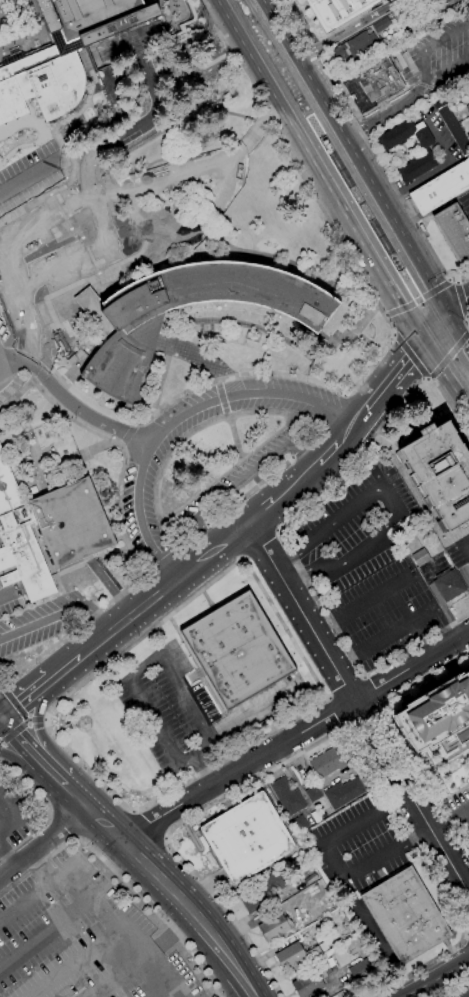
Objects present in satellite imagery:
road: (268, 2)
building: (450, 2)
building: (337, 11)
building: (424, 24)
road: (347, 29)
flagpole: (25, 38)
flagpole: (13, 43)
flagpole: (0, 48)
building: (356, 48)
road: (426, 50)
building: (63, 54)
road: (448, 72)
building: (374, 84)
road: (398, 102)
building: (468, 104)
building: (468, 107)
railway: (313, 113)
building: (452, 126)
road: (356, 127)
road: (296, 132)
building: (467, 136)
road: (369, 148)
building: (386, 149)
railway: (345, 160)
railway: (331, 167)
road: (432, 171)
road: (367, 173)
parking lot: (30, 175)
road: (29, 177)
building: (442, 188)
road: (57, 190)
road: (89, 190)
road: (317, 197)
road: (45, 223)
building: (454, 230)
building: (62, 249)
road: (382, 277)
road: (453, 279)
road: (457, 280)
road: (412, 290)
road: (419, 299)
road: (461, 299)
road: (24, 304)
road: (386, 314)
traffic signals: (450, 314)
road: (405, 315)
road: (445, 318)
road: (467, 319)
road: (467, 323)
road: (7, 325)
road: (394, 333)
building: (133, 336)
traffic signals: (423, 342)
railway: (455, 344)
road: (410, 354)
road: (450, 355)
railway: (449, 361)
road: (406, 362)
road: (2, 366)
parking lot: (9, 369)
road: (2, 373)
road: (445, 376)
road: (217, 378)
road: (426, 378)
road: (431, 379)
road: (192, 385)
road: (349, 394)
road: (223, 396)
road: (379, 397)
road: (72, 404)
road: (336, 412)
road: (180, 417)
road: (363, 417)
road: (134, 421)
road: (193, 430)
road: (129, 433)
road: (317, 434)
road: (235, 436)
road: (115, 440)
road: (122, 444)
road: (340, 445)
road: (302, 448)
road: (230, 469)
building: (441, 471)
road: (235, 482)
road: (298, 483)
road: (245, 494)
road: (389, 496)
road: (262, 513)
building: (48, 530)
road: (280, 532)
road: (189, 538)
road: (465, 543)
road: (263, 547)
road: (177, 549)
parking lot: (364, 556)
building: (420, 558)
road: (288, 560)
road: (160, 562)
road: (307, 573)
building: (450, 585)
road: (164, 590)
road: (374, 596)
road: (325, 626)
road: (74, 630)
road: (397, 631)
building: (238, 649)
road: (345, 660)
road: (66, 669)
road: (344, 684)
road: (376, 688)
road: (27, 700)
road: (13, 702)
road: (359, 709)
road: (336, 712)
road: (36, 715)
road: (1, 716)
road: (364, 716)
building: (438, 716)
road: (1, 718)
traffic signals: (2, 718)
road: (35, 719)
road: (45, 719)
road: (14, 731)
road: (399, 733)
road: (19, 734)
road: (296, 736)
road: (320, 739)
road: (215, 742)
road: (18, 752)
building: (329, 762)
road: (51, 766)
road: (204, 769)
road: (68, 784)
building: (344, 792)
building: (314, 793)
building: (288, 796)
road: (396, 801)
road: (89, 805)
road: (139, 808)
road: (48, 811)
road: (138, 811)
road: (49, 816)
road: (449, 816)
road: (14, 818)
road: (151, 824)
building: (299, 824)
road: (61, 827)
road: (417, 836)
building: (248, 837)
road: (72, 838)
road: (166, 839)
road: (45, 842)
road: (335, 861)
building: (305, 862)
road: (153, 867)
road: (122, 876)
building: (261, 892)
road: (33, 895)
building: (406, 915)
parking lot: (72, 921)
building: (275, 927)
road: (120, 930)
road: (468, 933)
road: (46, 934)
road: (465, 934)
road: (170, 936)
road: (221, 941)
building: (295, 955)
road: (77, 964)
building: (361, 969)
road: (431, 976)
road: (116, 978)
building: (313, 979)
road: (249, 984)

